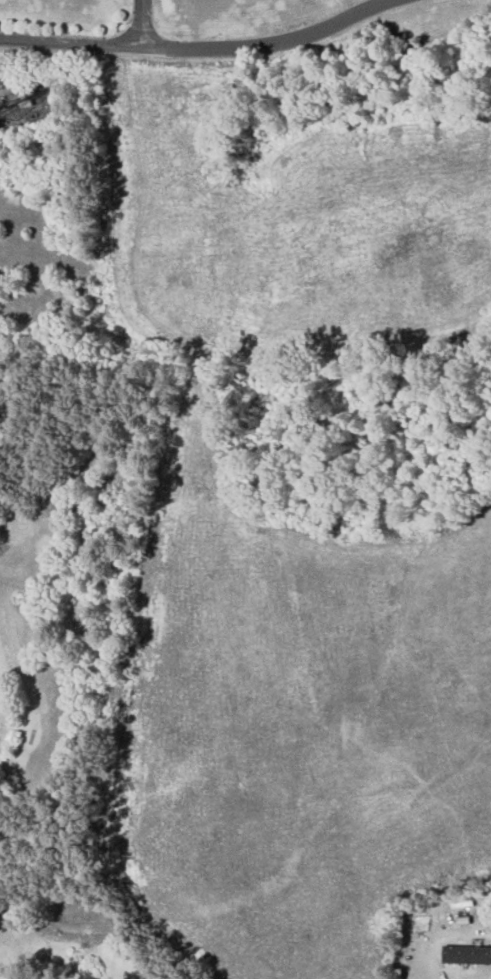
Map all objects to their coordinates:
road: (91, 41)
road: (271, 45)
road: (442, 934)
building: (467, 955)

